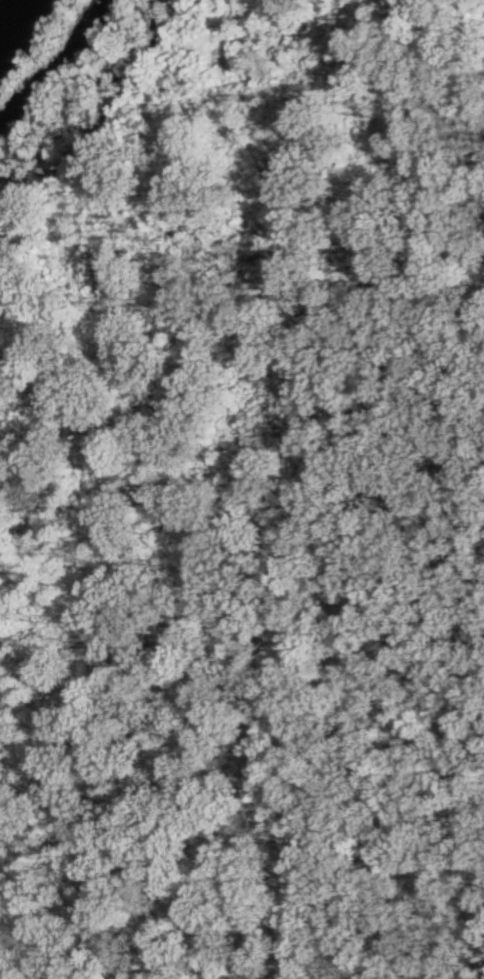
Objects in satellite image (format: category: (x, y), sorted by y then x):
river: (6, 11)
road: (141, 147)

